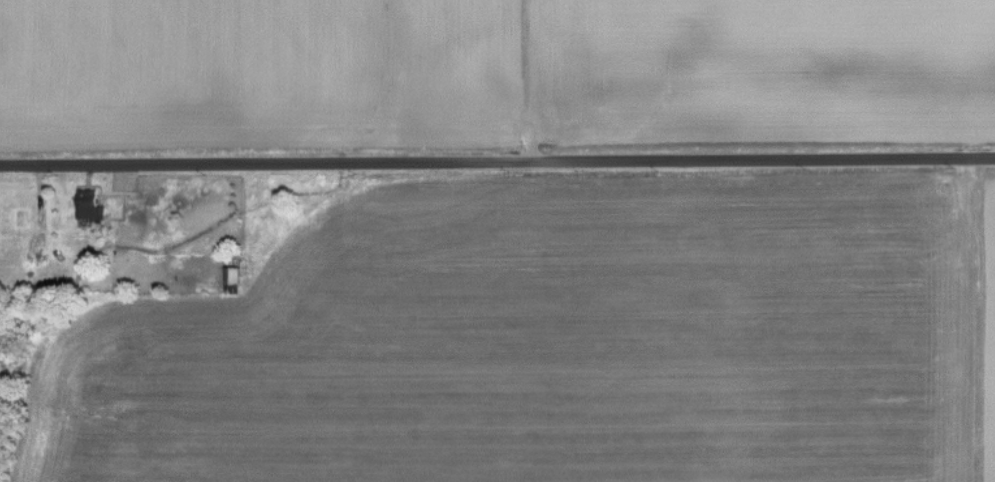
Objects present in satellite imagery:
road: (497, 164)
building: (87, 204)

